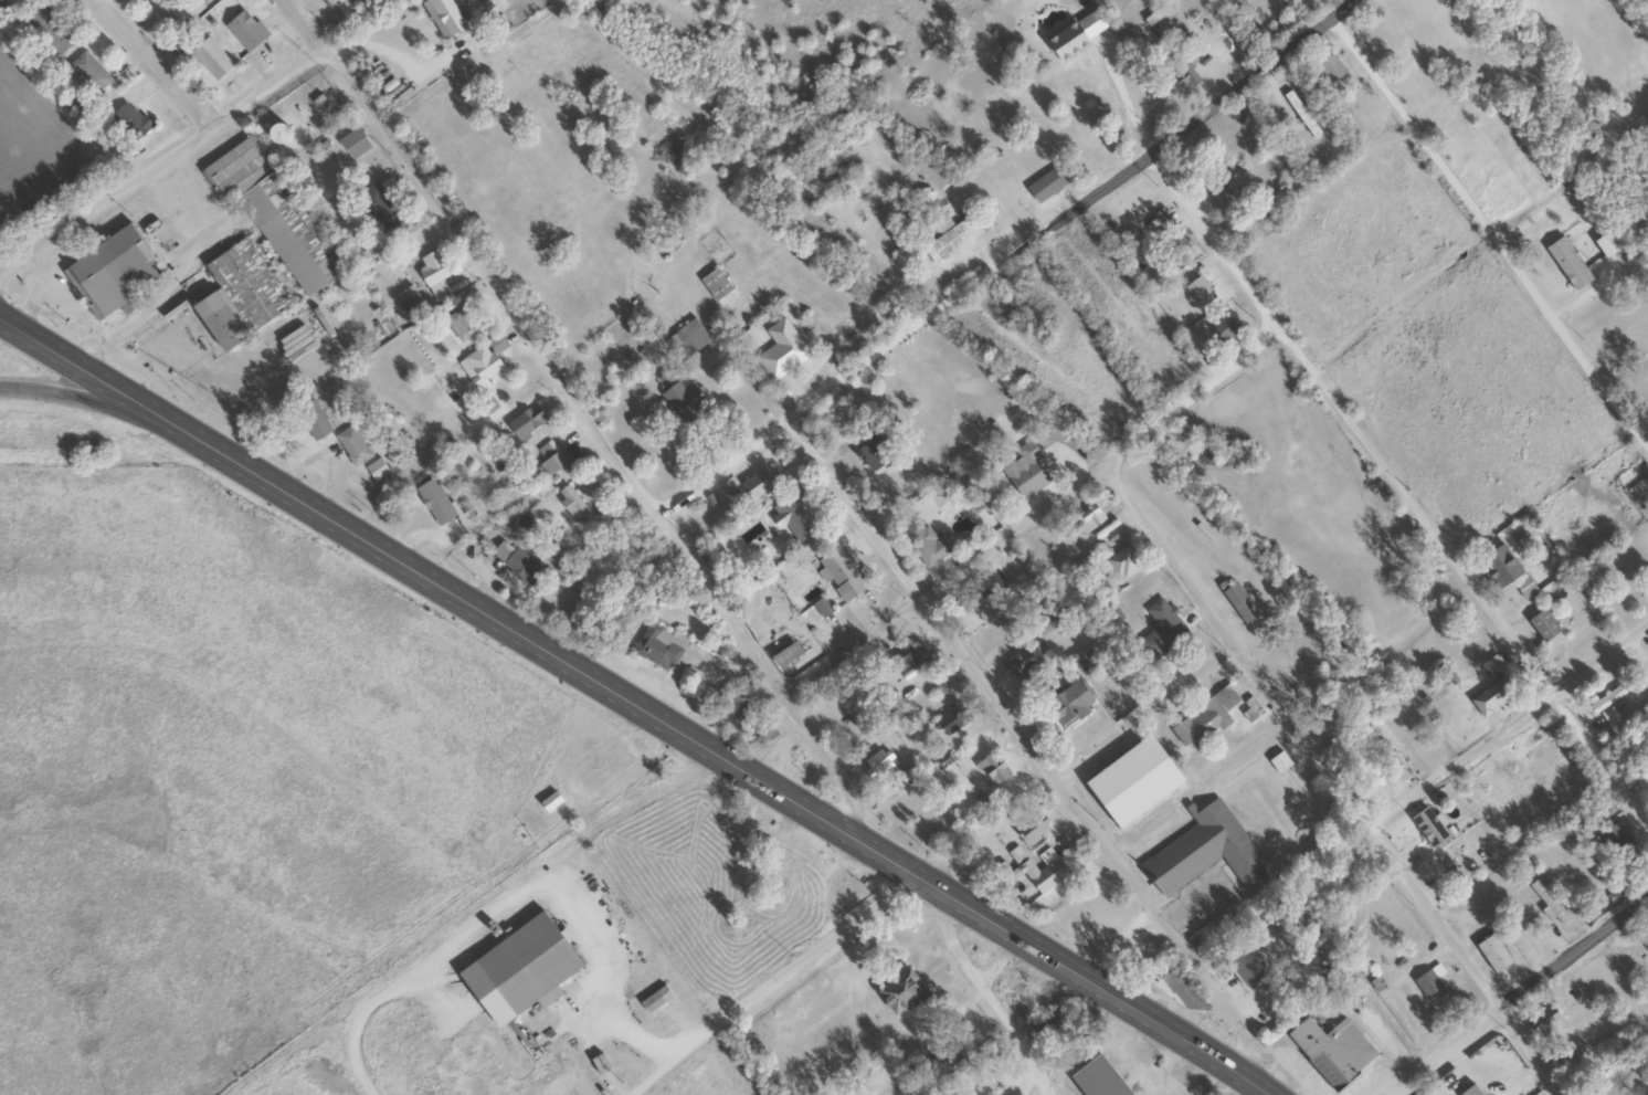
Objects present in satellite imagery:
building: (340, 1)
building: (13, 2)
building: (169, 13)
building: (442, 17)
road: (304, 23)
building: (50, 31)
building: (247, 33)
building: (209, 57)
road: (152, 65)
building: (1329, 69)
building: (89, 73)
road: (268, 87)
building: (126, 117)
building: (275, 134)
building: (350, 139)
building: (837, 152)
building: (1045, 186)
building: (1225, 186)
road: (104, 197)
building: (376, 210)
building: (273, 213)
road: (1480, 232)
building: (955, 235)
building: (1603, 246)
road: (1003, 263)
building: (1567, 264)
building: (110, 275)
building: (432, 276)
building: (715, 285)
building: (1198, 293)
building: (404, 301)
building: (237, 305)
building: (457, 326)
building: (1227, 327)
building: (685, 340)
building: (781, 350)
building: (480, 361)
building: (679, 399)
road: (99, 402)
building: (311, 421)
building: (525, 423)
railway: (1132, 433)
road: (598, 434)
building: (351, 446)
building: (870, 454)
building: (549, 459)
road: (1090, 470)
building: (1023, 471)
building: (754, 486)
road: (1402, 493)
building: (433, 503)
building: (573, 507)
building: (793, 517)
building: (464, 519)
building: (1082, 524)
building: (925, 543)
building: (515, 562)
building: (1121, 564)
building: (1498, 565)
building: (844, 577)
building: (1524, 587)
building: (1630, 596)
building: (971, 600)
building: (1239, 602)
building: (821, 608)
building: (1112, 612)
building: (1045, 623)
building: (1542, 625)
building: (1161, 631)
building: (657, 645)
building: (783, 655)
building: (911, 656)
building: (1025, 660)
road: (628, 697)
building: (1490, 697)
building: (1606, 698)
building: (1067, 702)
building: (1253, 710)
building: (1204, 718)
building: (947, 723)
road: (1510, 725)
road: (1026, 745)
building: (1545, 751)
building: (1279, 762)
building: (876, 765)
road: (1066, 767)
building: (1388, 767)
building: (993, 769)
road: (1337, 781)
building: (549, 802)
building: (1029, 828)
building: (1428, 828)
building: (1617, 843)
building: (1203, 851)
building: (1039, 873)
building: (1452, 873)
building: (1550, 905)
road: (969, 939)
building: (1646, 948)
building: (1325, 951)
building: (1492, 954)
building: (1244, 962)
building: (525, 965)
building: (1429, 980)
building: (899, 992)
road: (876, 994)
road: (1524, 996)
building: (654, 1000)
road: (987, 1014)
building: (1544, 1019)
building: (1331, 1051)
building: (1568, 1054)
building: (936, 1064)
building: (1095, 1077)
road: (1277, 1083)

